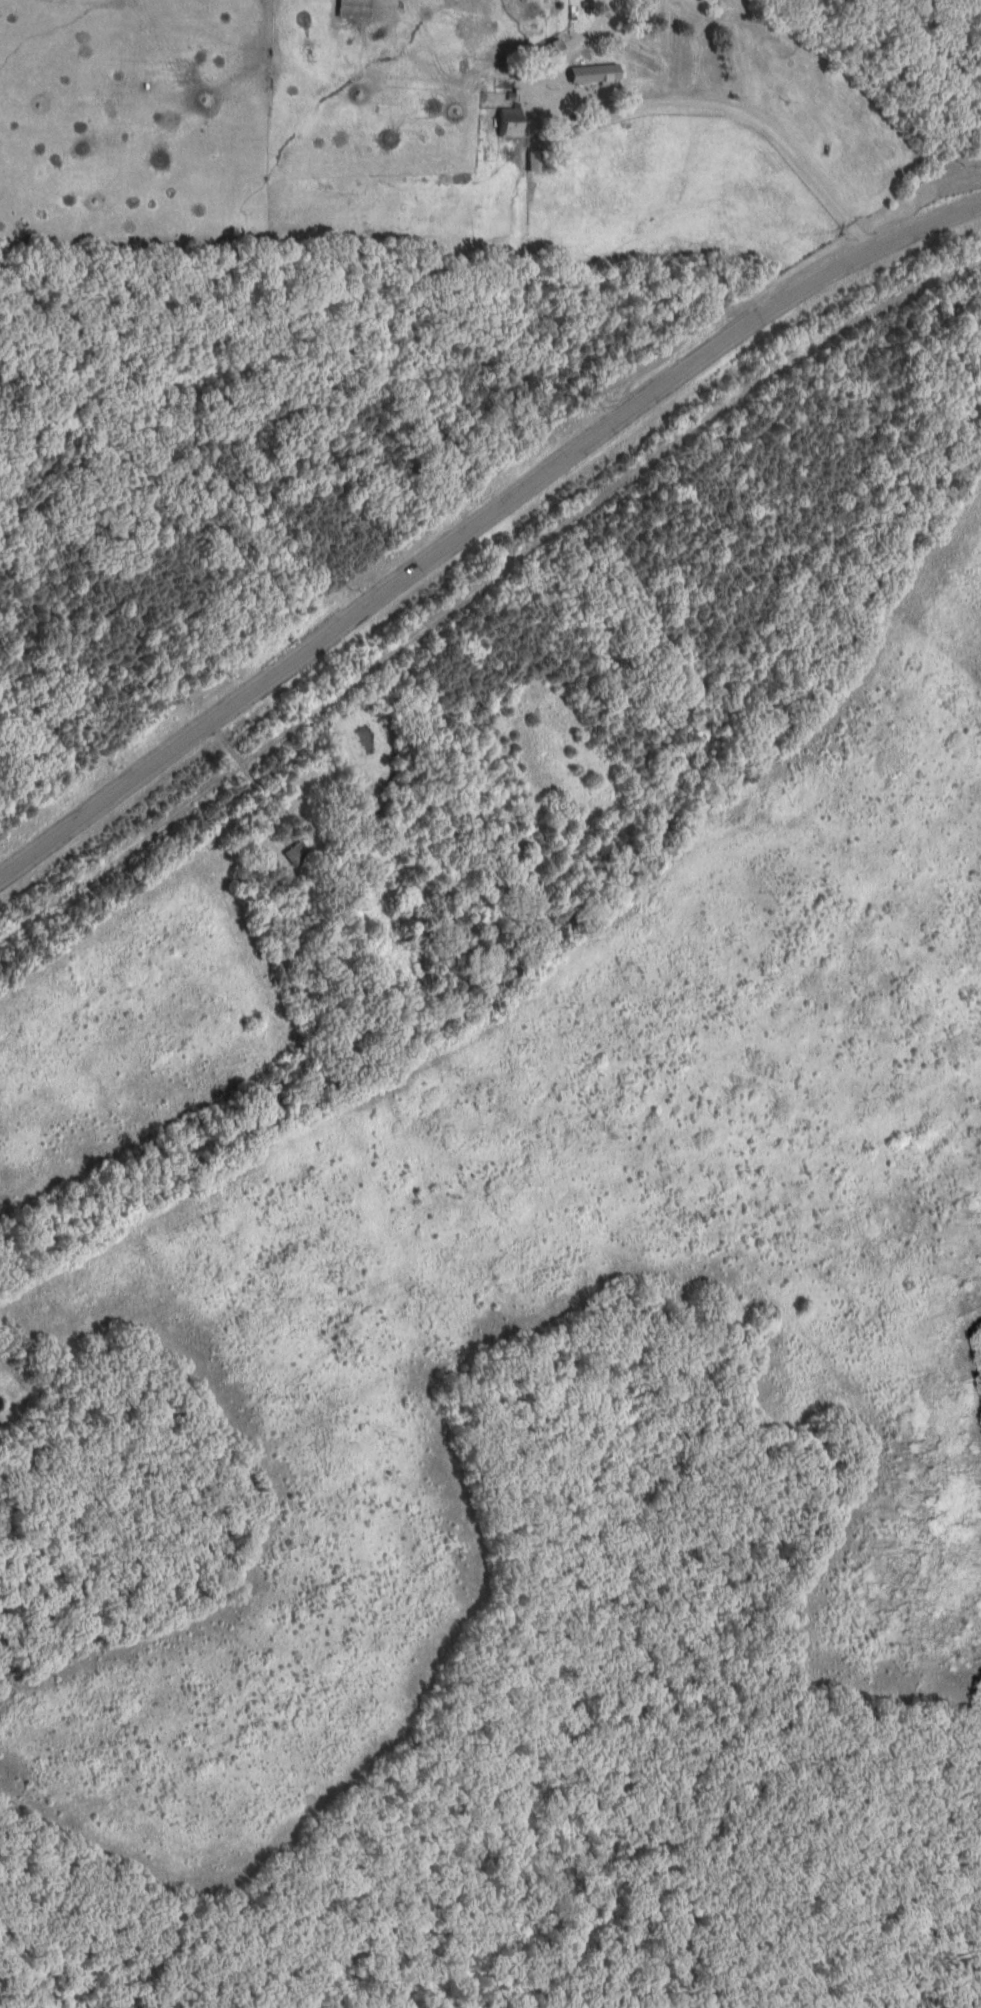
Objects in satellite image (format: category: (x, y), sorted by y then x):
building: (607, 75)
building: (512, 123)
road: (758, 125)
road: (478, 522)
railway: (478, 587)
building: (296, 855)

